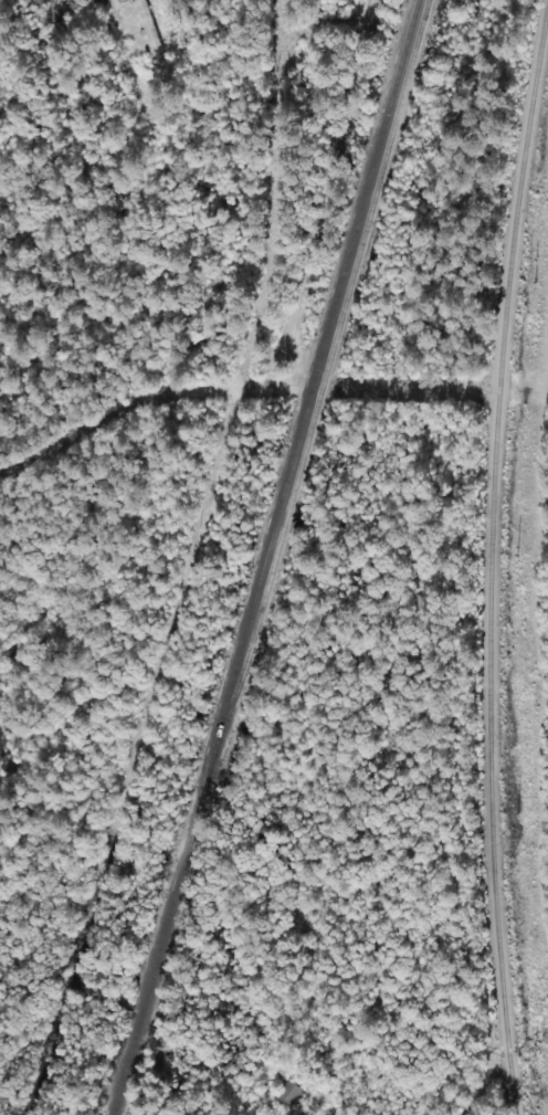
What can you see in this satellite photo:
building: (59, 0)
building: (148, 22)
road: (136, 57)
railway: (537, 97)
railway: (320, 391)
railway: (264, 557)
railway: (489, 557)
road: (347, 818)
building: (286, 1093)

